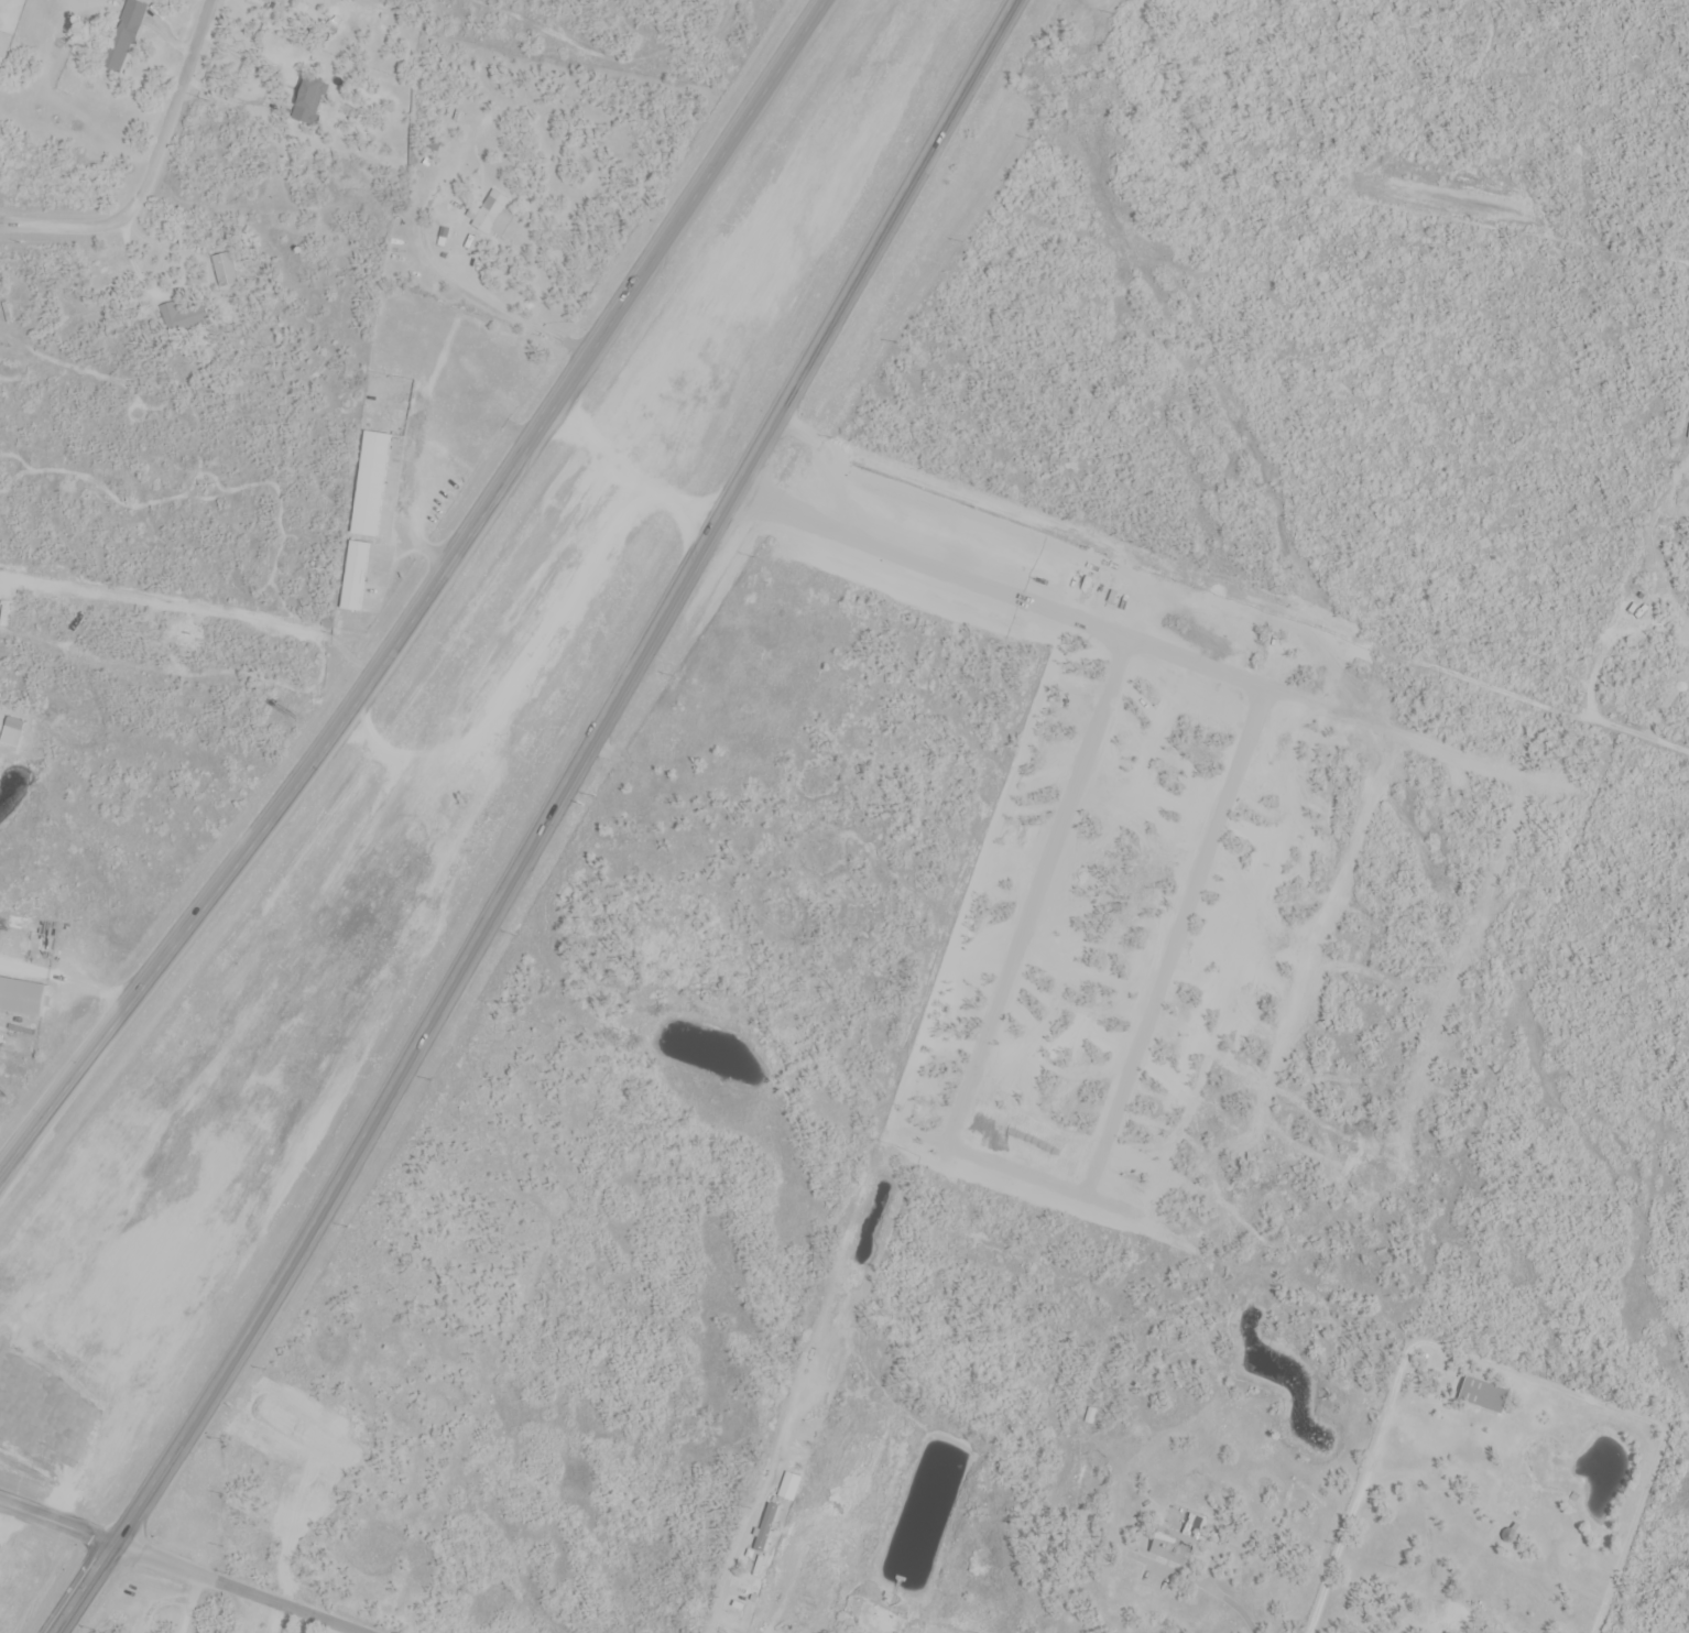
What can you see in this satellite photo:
building: (282, 0)
building: (122, 36)
building: (308, 101)
building: (482, 133)
road: (153, 171)
building: (492, 215)
building: (226, 270)
building: (168, 312)
building: (370, 485)
building: (353, 577)
road: (419, 595)
building: (10, 734)
road: (1646, 740)
road: (543, 821)
road: (1493, 1363)
building: (1483, 1396)
road: (55, 1524)
building: (1177, 1543)
road: (236, 1589)
building: (1450, 1632)

